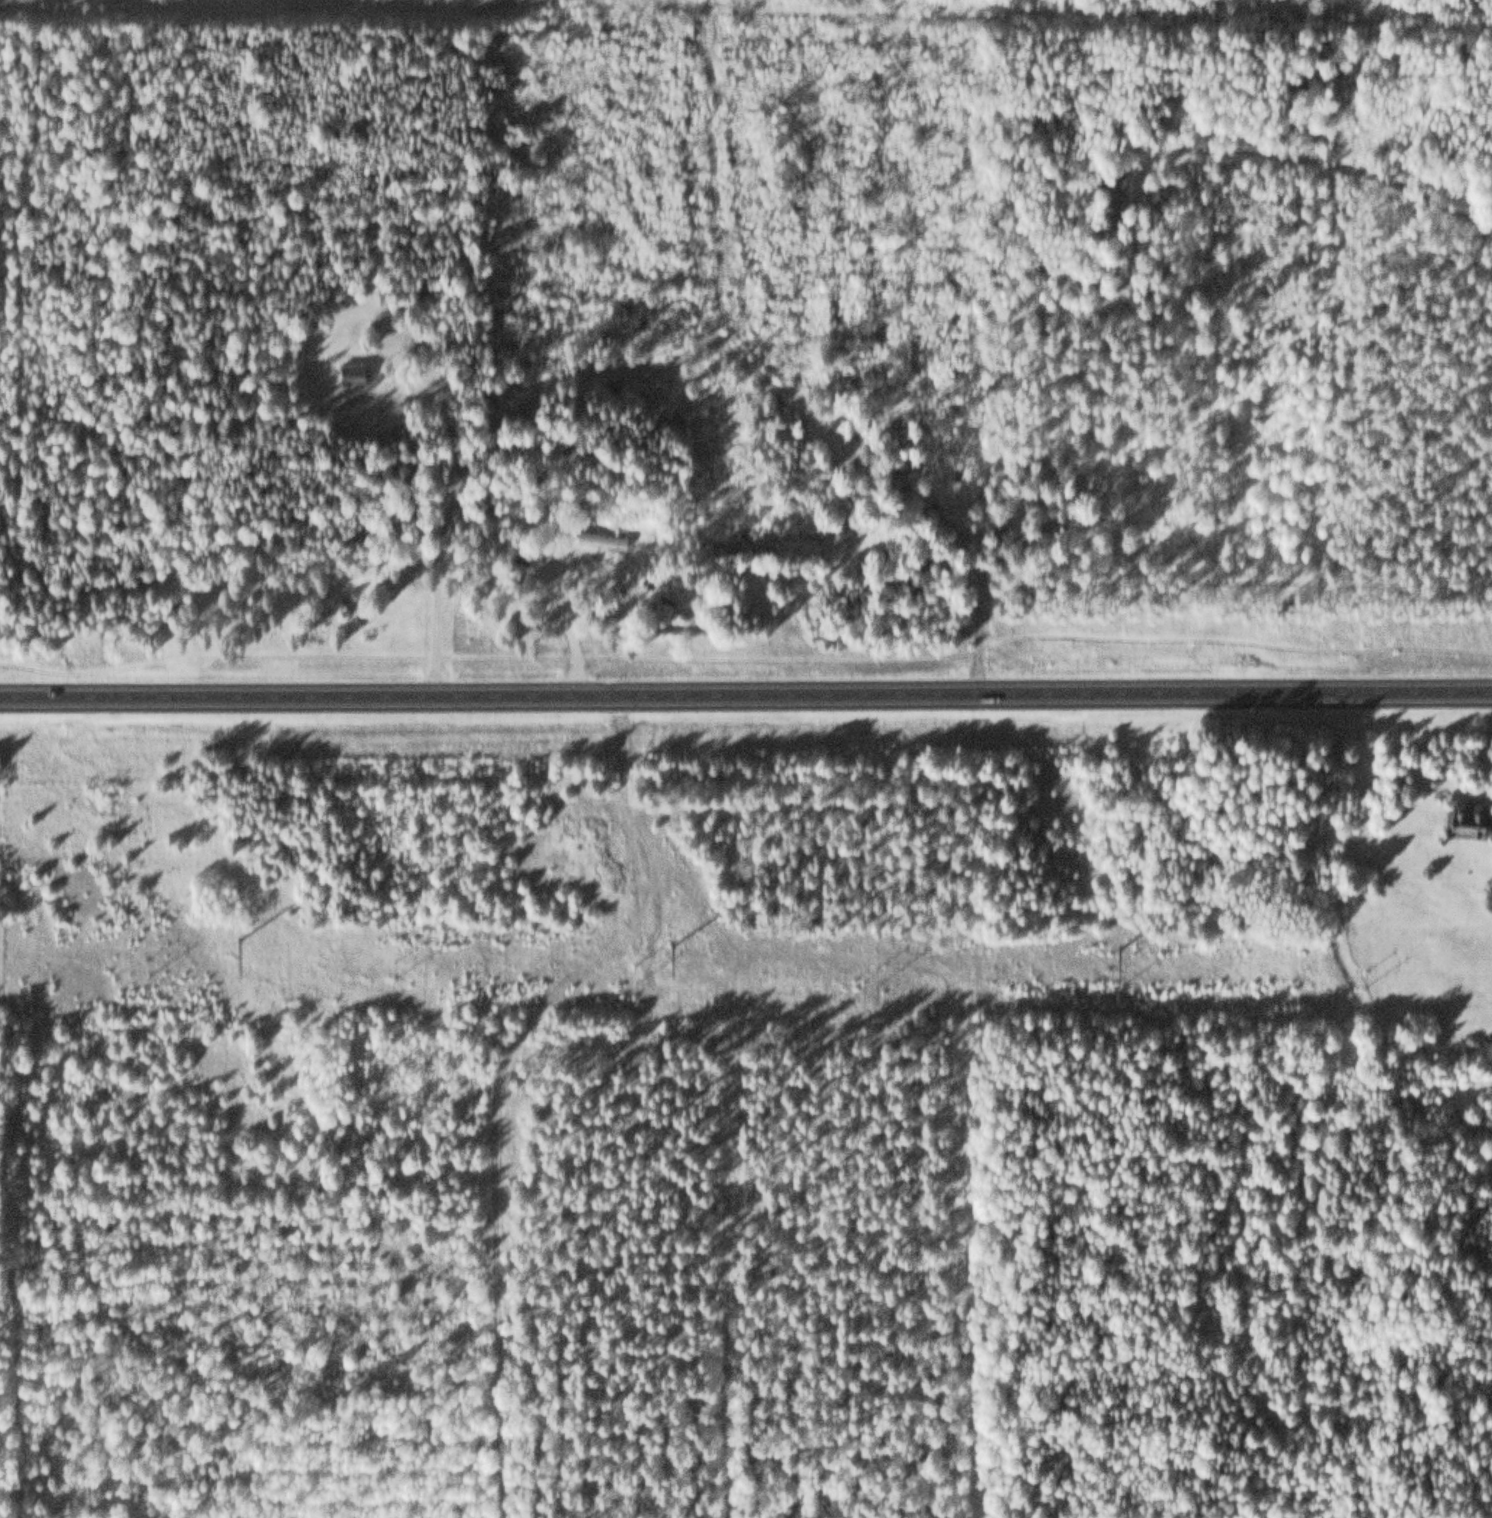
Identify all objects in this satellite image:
building: (347, 370)
road: (746, 693)
building: (1463, 818)
building: (1491, 856)
power tower: (236, 936)
power tower: (671, 942)
power tower: (1117, 947)

